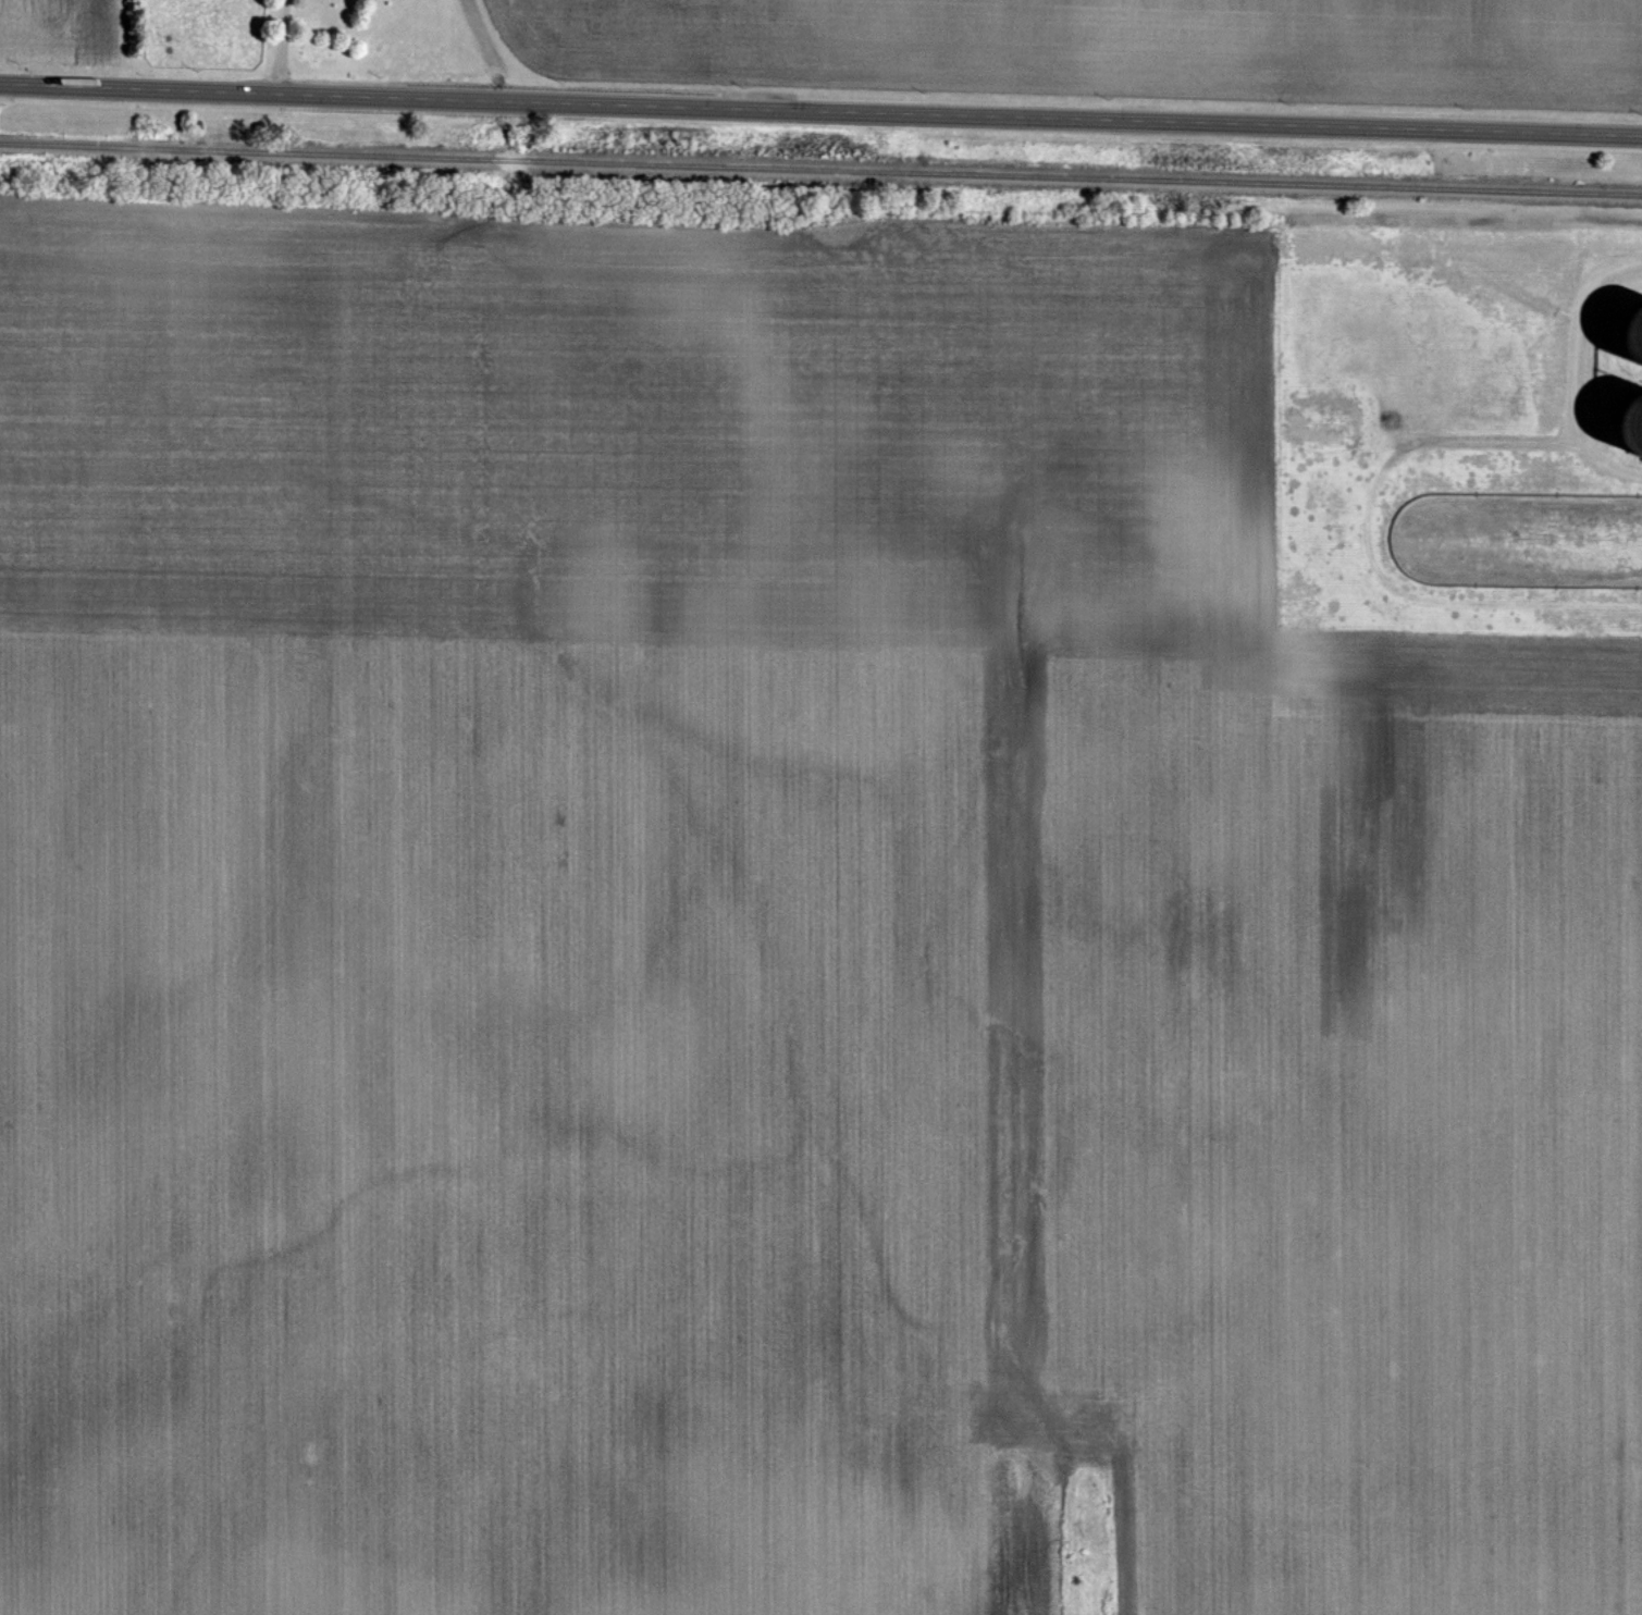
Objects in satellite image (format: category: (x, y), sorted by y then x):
crop: (60, 32)
road: (282, 46)
crop: (1106, 48)
road: (820, 111)
railway: (820, 167)

